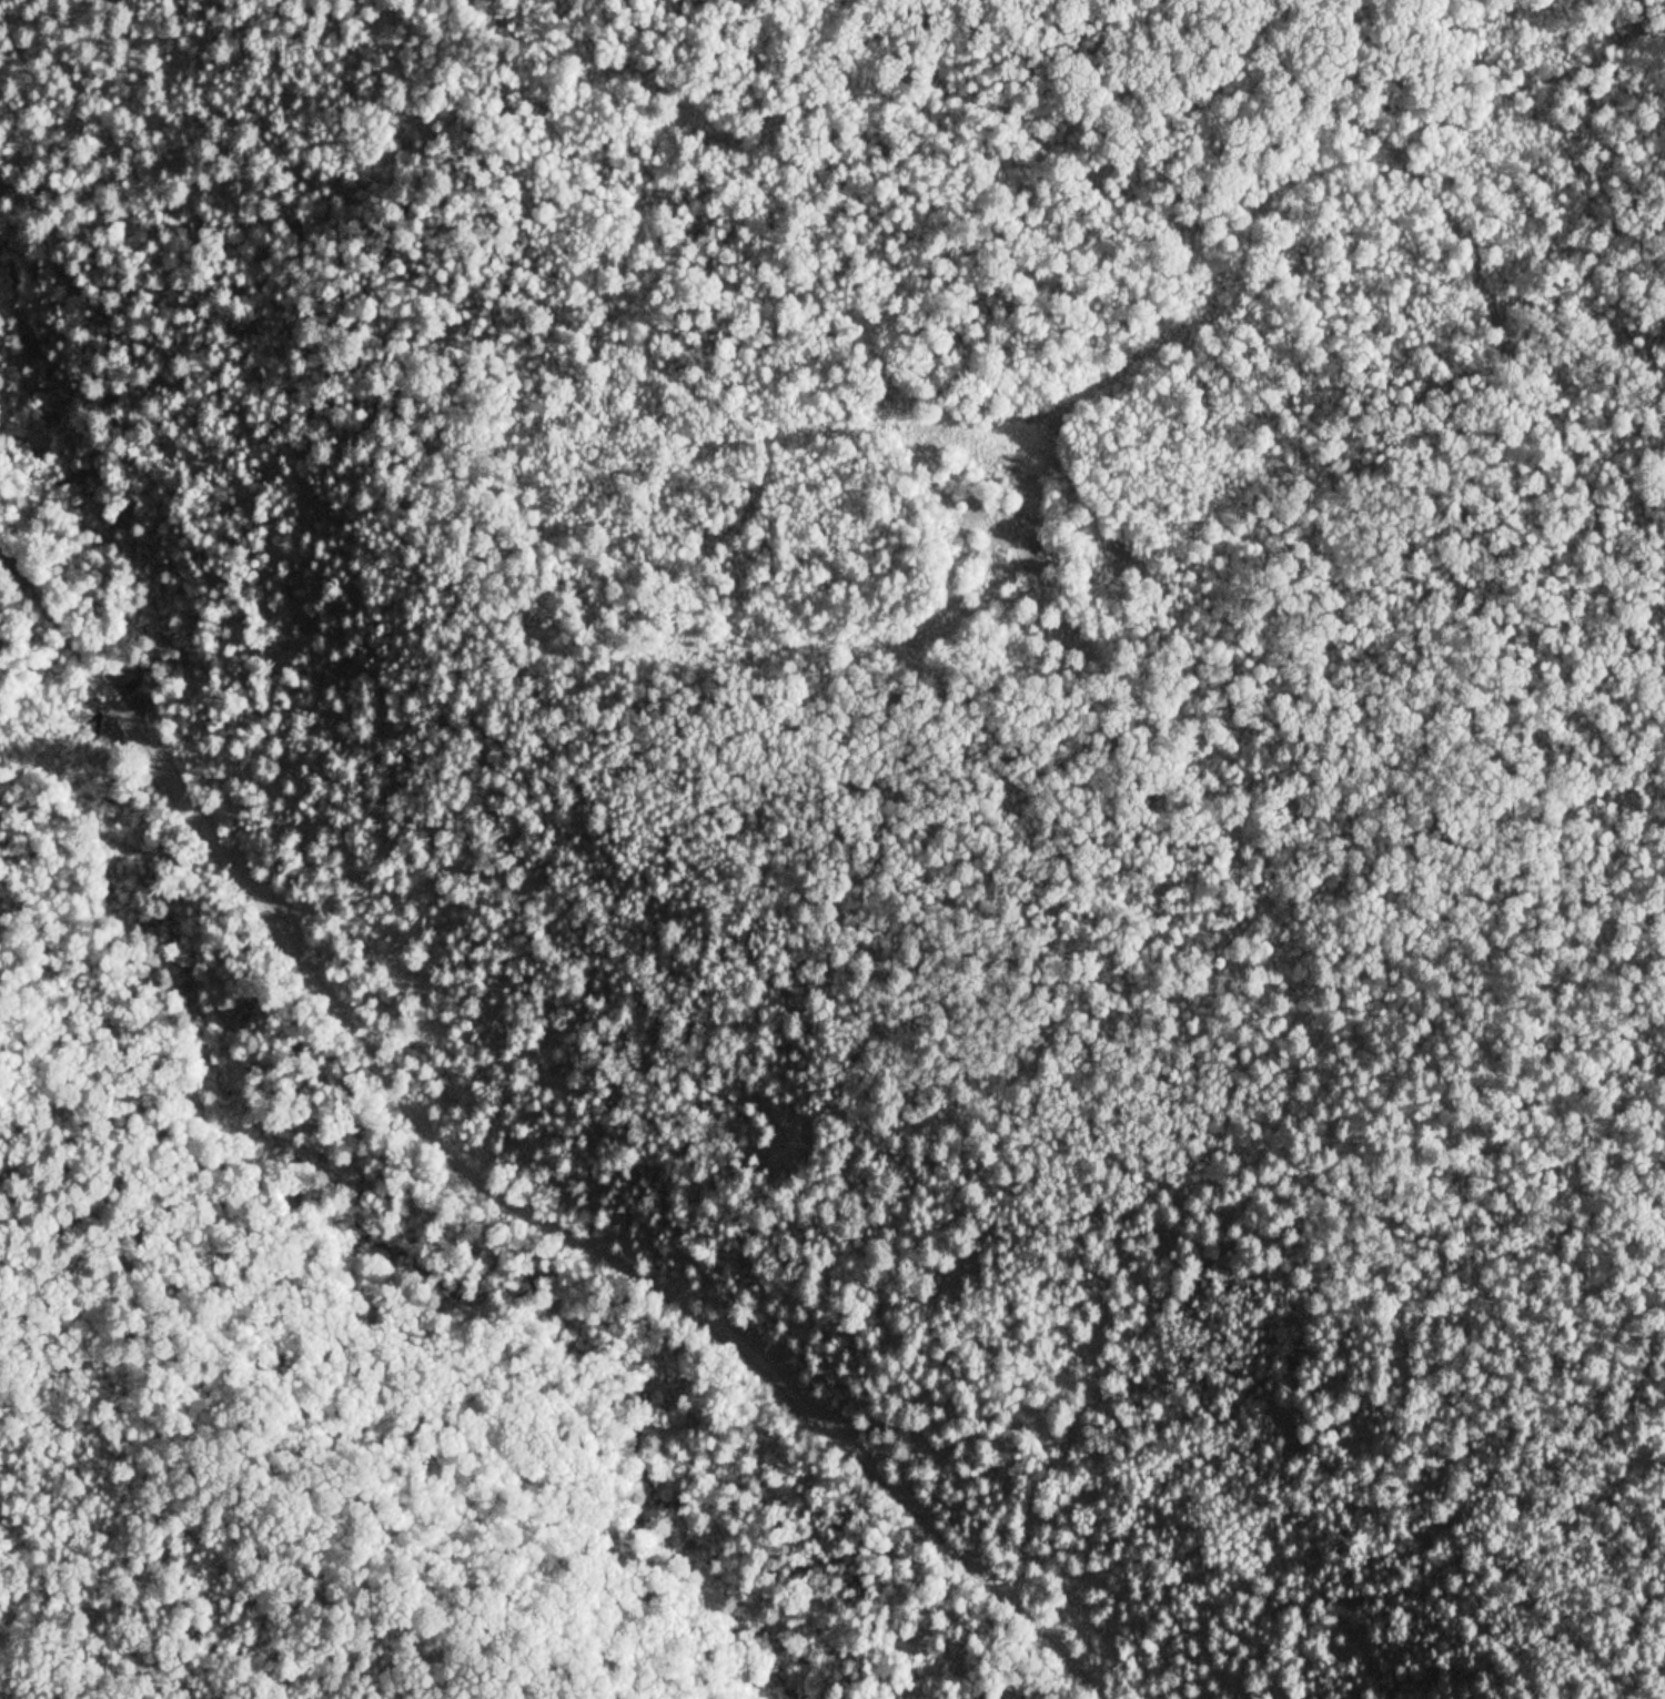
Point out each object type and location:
road: (1508, 251)
road: (507, 1167)

